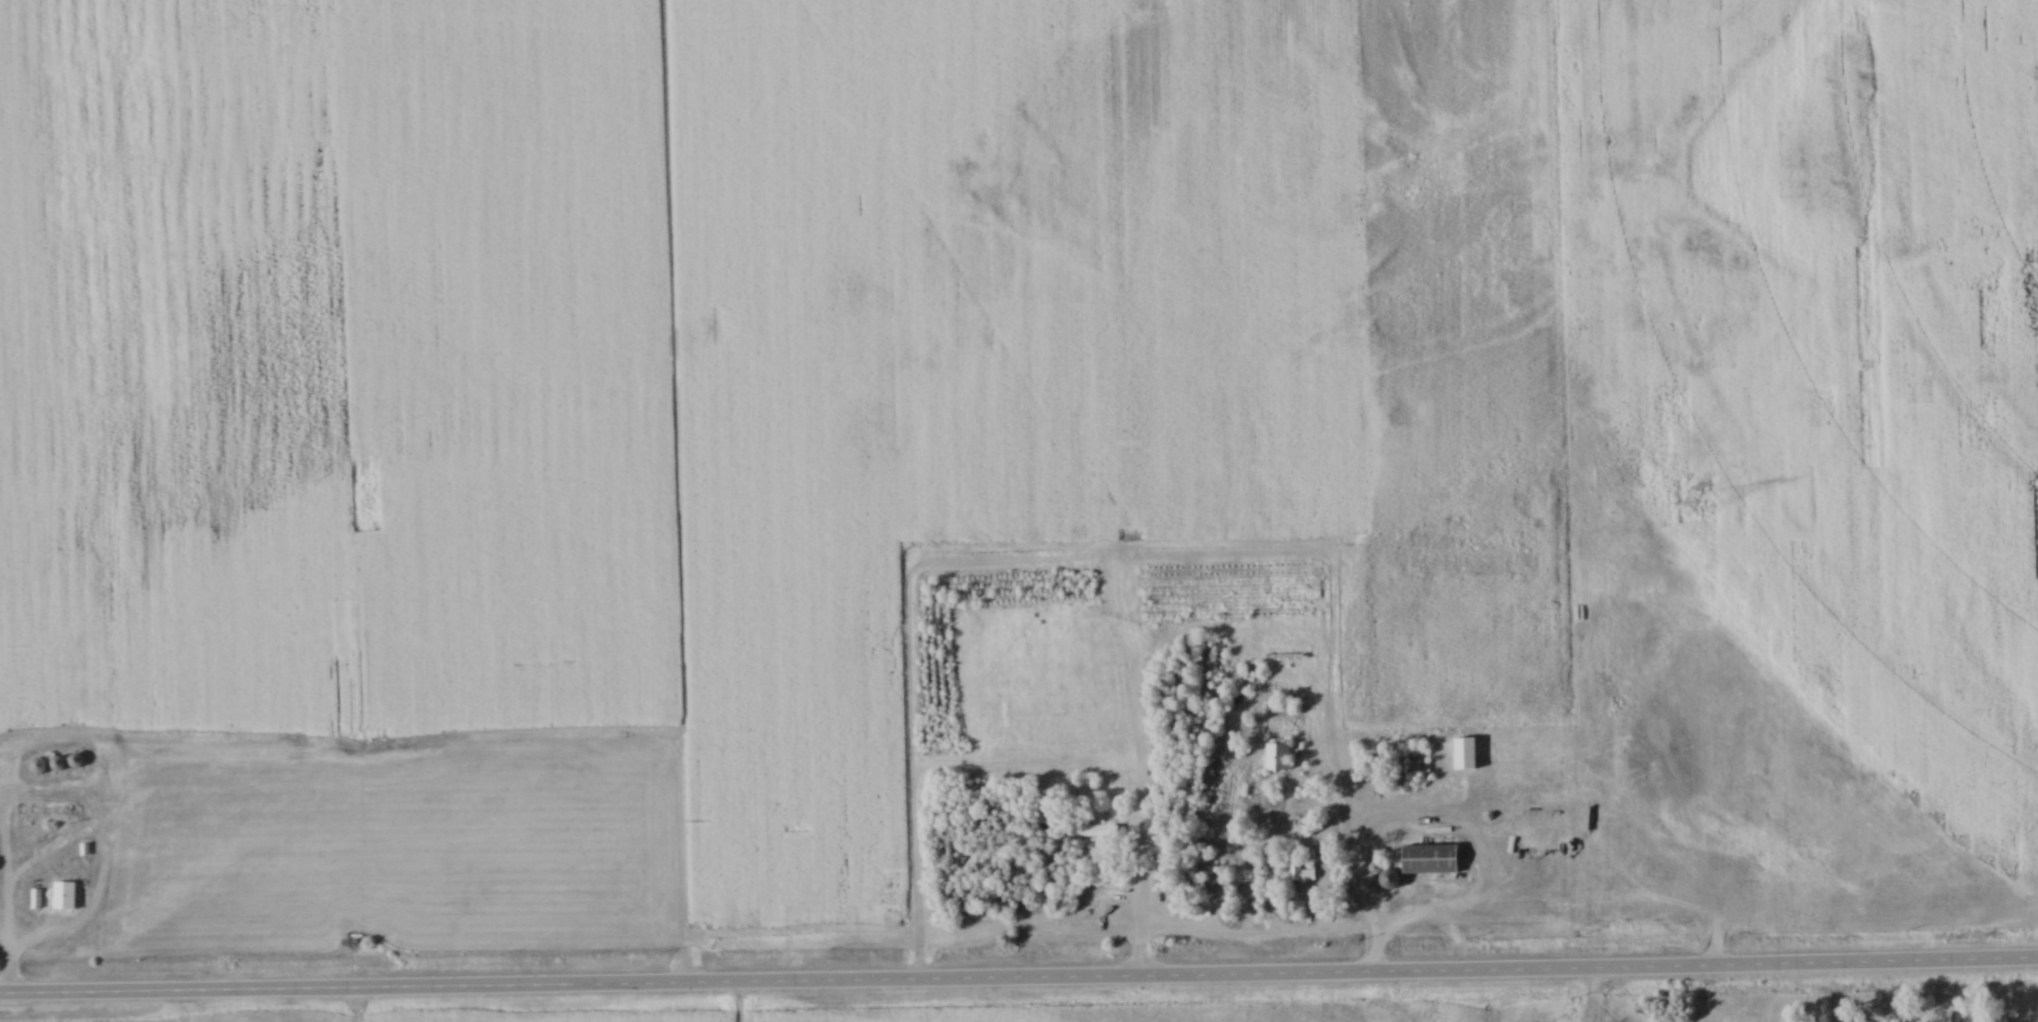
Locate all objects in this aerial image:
power tower: (1699, 503)
building: (1281, 707)
building: (1275, 758)
building: (75, 761)
building: (38, 767)
building: (1092, 831)
road: (60, 850)
building: (1428, 861)
building: (1301, 872)
building: (34, 900)
road: (1139, 922)
road: (2, 977)
road: (1019, 984)

